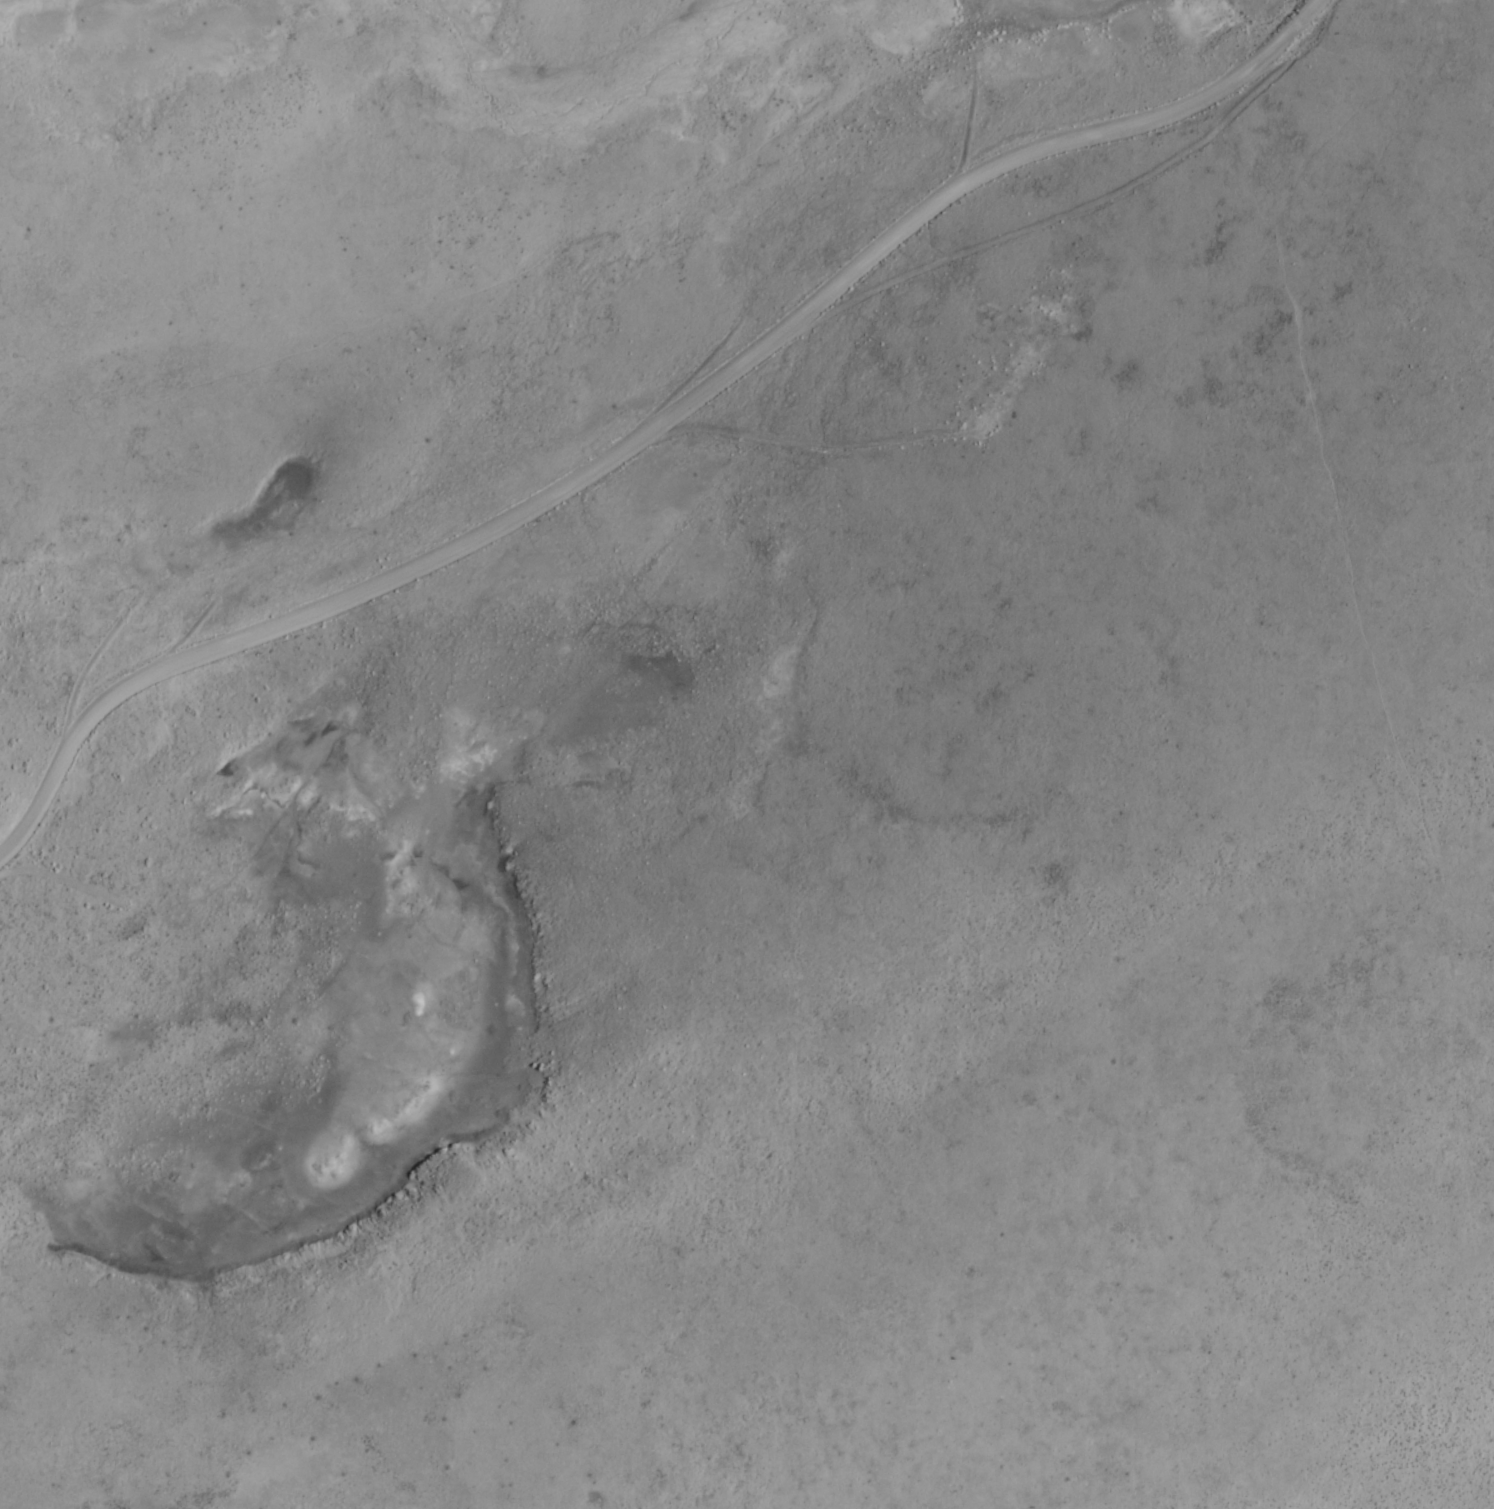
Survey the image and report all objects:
road: (652, 427)

